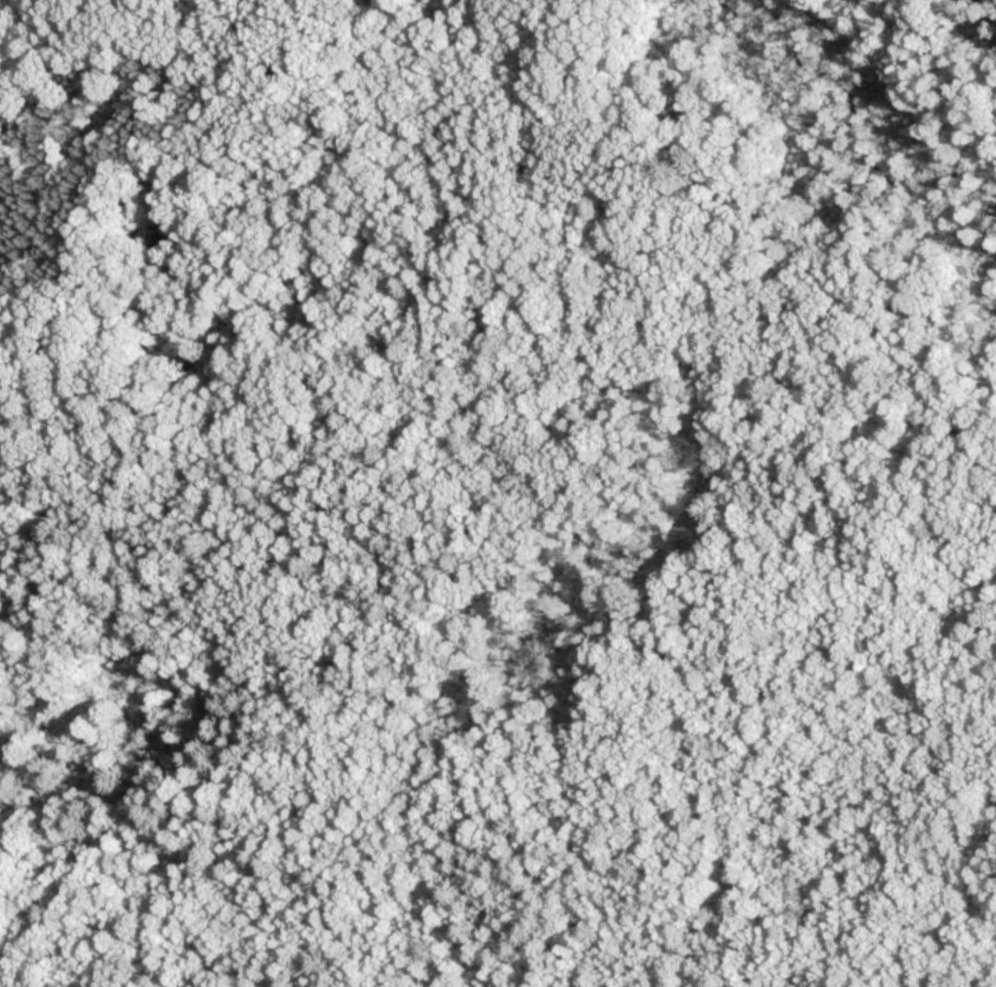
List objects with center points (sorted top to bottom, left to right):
park: (498, 493)

